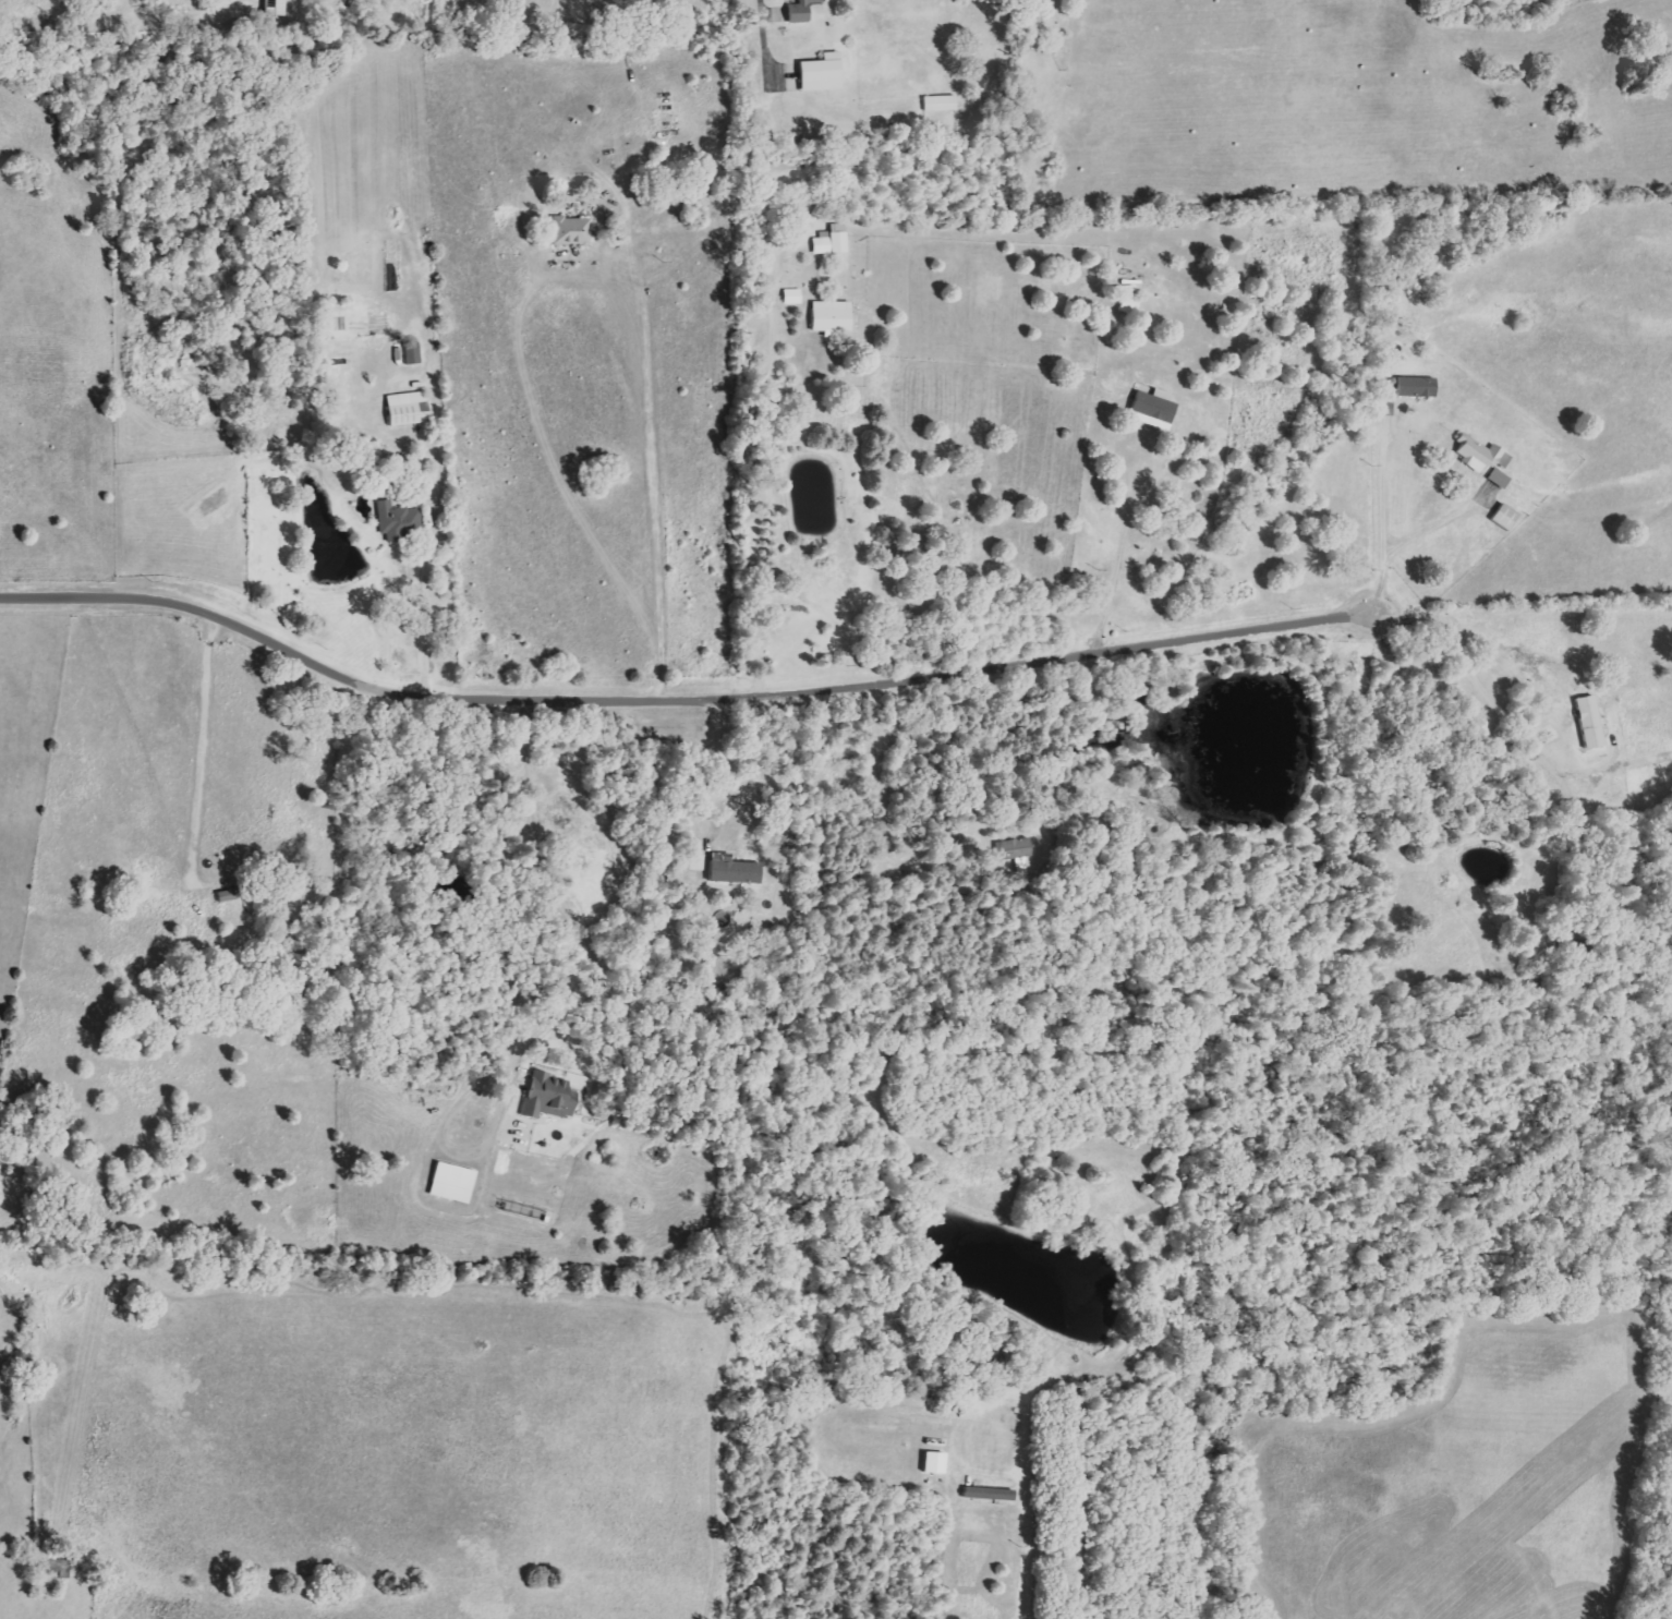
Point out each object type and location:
building: (275, 8)
building: (800, 12)
road: (774, 36)
building: (822, 74)
building: (940, 104)
building: (572, 231)
building: (832, 241)
building: (792, 297)
building: (1130, 304)
building: (832, 317)
building: (412, 353)
building: (1417, 387)
building: (409, 408)
building: (1154, 409)
building: (1483, 459)
road: (770, 476)
road: (435, 518)
building: (398, 520)
road: (1385, 527)
road: (1435, 529)
road: (1124, 544)
road: (677, 699)
road: (1494, 703)
building: (1590, 721)
road: (202, 749)
road: (713, 768)
road: (880, 806)
building: (1016, 848)
building: (736, 872)
road: (559, 899)
road: (1186, 902)
building: (548, 1097)
building: (452, 1183)
building: (936, 1463)
building: (990, 1494)

